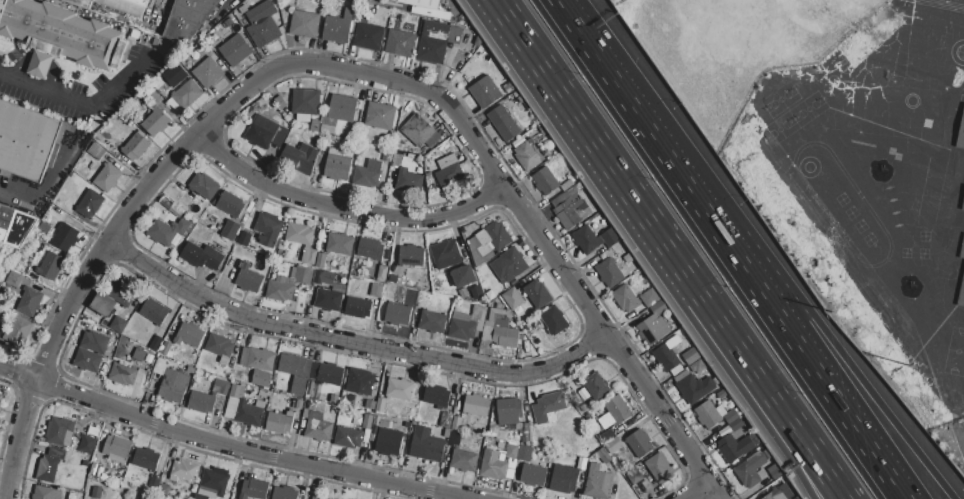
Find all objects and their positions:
building: (82, 3)
building: (422, 3)
building: (127, 6)
building: (383, 12)
building: (188, 19)
building: (263, 23)
building: (305, 24)
building: (338, 27)
building: (62, 32)
building: (368, 34)
building: (400, 43)
building: (236, 50)
building: (431, 50)
building: (38, 64)
road: (14, 68)
building: (208, 72)
building: (176, 73)
road: (54, 82)
building: (485, 92)
building: (188, 94)
building: (281, 102)
road: (81, 104)
building: (305, 104)
building: (342, 107)
building: (380, 115)
building: (157, 121)
building: (504, 123)
building: (315, 125)
building: (328, 129)
building: (266, 132)
building: (297, 132)
building: (420, 132)
road: (657, 137)
building: (28, 139)
building: (961, 139)
road: (186, 141)
building: (136, 147)
building: (97, 151)
building: (527, 155)
building: (302, 157)
building: (396, 160)
building: (448, 161)
building: (338, 166)
building: (369, 173)
building: (450, 175)
building: (108, 178)
building: (409, 180)
building: (546, 181)
road: (5, 182)
road: (622, 184)
building: (205, 185)
building: (567, 185)
building: (91, 203)
building: (230, 203)
road: (345, 208)
building: (963, 209)
building: (574, 211)
building: (15, 225)
building: (231, 229)
building: (269, 229)
building: (168, 230)
building: (66, 237)
building: (611, 237)
building: (245, 238)
building: (586, 239)
building: (303, 241)
building: (488, 242)
building: (340, 243)
building: (370, 248)
building: (445, 251)
building: (412, 255)
building: (962, 255)
building: (203, 256)
building: (322, 260)
building: (515, 261)
building: (50, 266)
building: (610, 272)
building: (382, 273)
building: (319, 276)
building: (249, 277)
building: (14, 279)
building: (464, 279)
building: (425, 281)
building: (288, 284)
building: (377, 290)
building: (121, 292)
building: (390, 293)
building: (538, 294)
road: (583, 297)
building: (650, 297)
building: (513, 298)
building: (625, 298)
building: (962, 298)
building: (329, 299)
building: (30, 301)
building: (446, 302)
building: (103, 304)
building: (359, 307)
building: (659, 307)
power tower: (832, 308)
building: (155, 311)
building: (398, 314)
building: (478, 316)
building: (555, 320)
building: (433, 322)
building: (119, 324)
building: (462, 326)
building: (500, 327)
building: (653, 328)
building: (19, 331)
building: (190, 334)
road: (352, 341)
building: (95, 342)
building: (157, 343)
building: (221, 347)
building: (166, 348)
building: (140, 353)
building: (670, 353)
building: (175, 355)
building: (692, 355)
building: (259, 358)
building: (88, 360)
building: (161, 366)
building: (698, 366)
power tower: (914, 366)
building: (191, 369)
building: (677, 369)
building: (296, 371)
building: (315, 371)
building: (124, 374)
building: (330, 374)
road: (20, 375)
building: (239, 375)
building: (681, 375)
building: (140, 377)
building: (262, 378)
road: (861, 379)
building: (360, 381)
building: (174, 385)
building: (221, 386)
road: (832, 386)
building: (596, 387)
building: (400, 388)
building: (695, 388)
building: (237, 391)
building: (722, 394)
building: (437, 396)
building: (1, 398)
building: (220, 401)
building: (202, 402)
building: (289, 402)
building: (552, 402)
building: (371, 403)
building: (297, 404)
building: (381, 405)
building: (477, 405)
building: (232, 408)
building: (1, 409)
building: (618, 409)
building: (510, 411)
building: (249, 413)
building: (307, 413)
building: (710, 414)
building: (539, 415)
building: (731, 416)
building: (604, 419)
building: (446, 420)
building: (368, 421)
building: (280, 422)
building: (459, 424)
building: (319, 427)
building: (60, 431)
road: (798, 433)
building: (366, 436)
road: (772, 437)
building: (349, 438)
building: (455, 439)
road: (22, 440)
building: (389, 442)
building: (87, 443)
building: (639, 443)
building: (614, 446)
building: (428, 447)
building: (734, 447)
building: (117, 448)
building: (512, 451)
road: (254, 452)
building: (57, 453)
building: (525, 453)
building: (147, 458)
building: (464, 460)
building: (493, 465)
building: (658, 467)
building: (47, 468)
building: (185, 470)
building: (751, 470)
building: (776, 471)
building: (534, 474)
building: (634, 475)
building: (216, 480)
building: (155, 481)
building: (564, 483)
building: (598, 484)
building: (255, 489)
building: (44, 492)
building: (96, 492)
building: (164, 492)
road: (703, 492)
building: (285, 493)
building: (780, 493)
building: (323, 496)
building: (344, 498)

